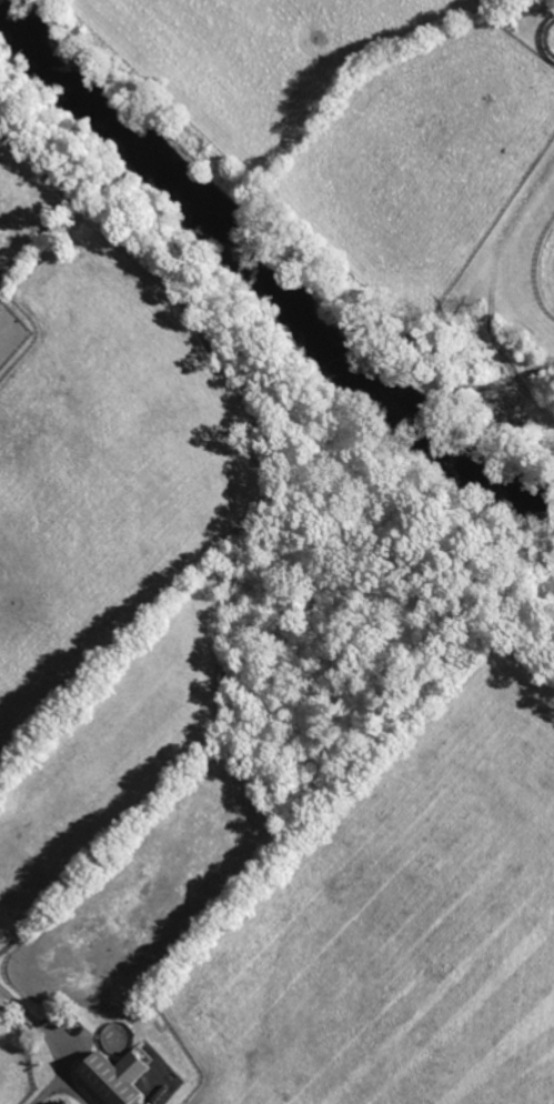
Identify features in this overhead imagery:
road: (54, 1040)
building: (110, 1075)
road: (49, 1087)

